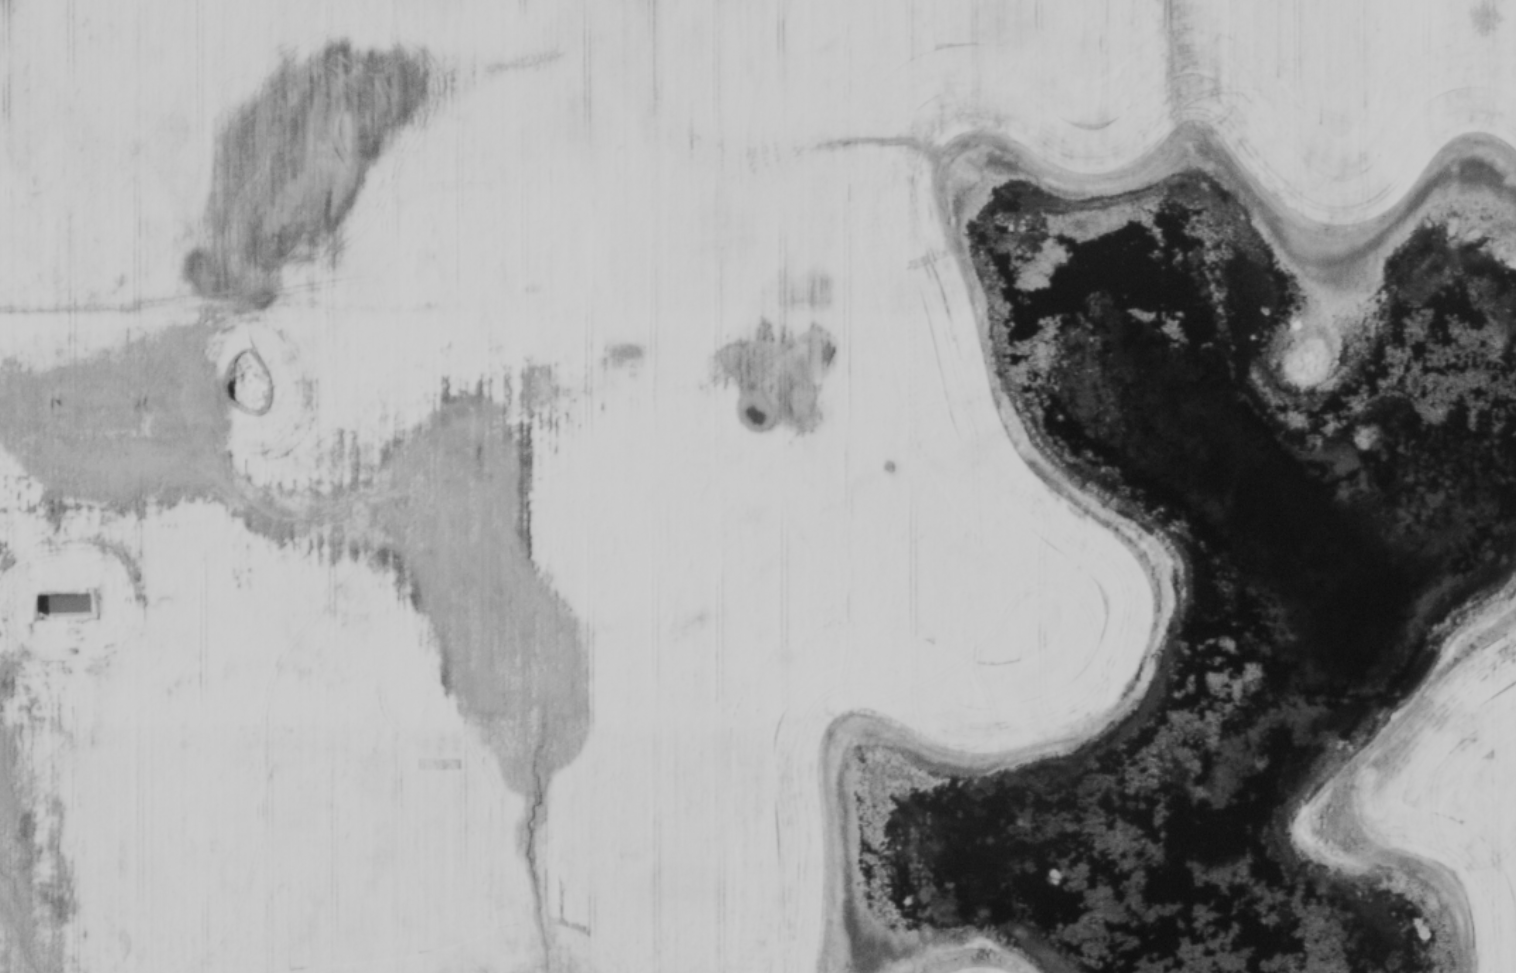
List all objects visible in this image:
building: (65, 605)

